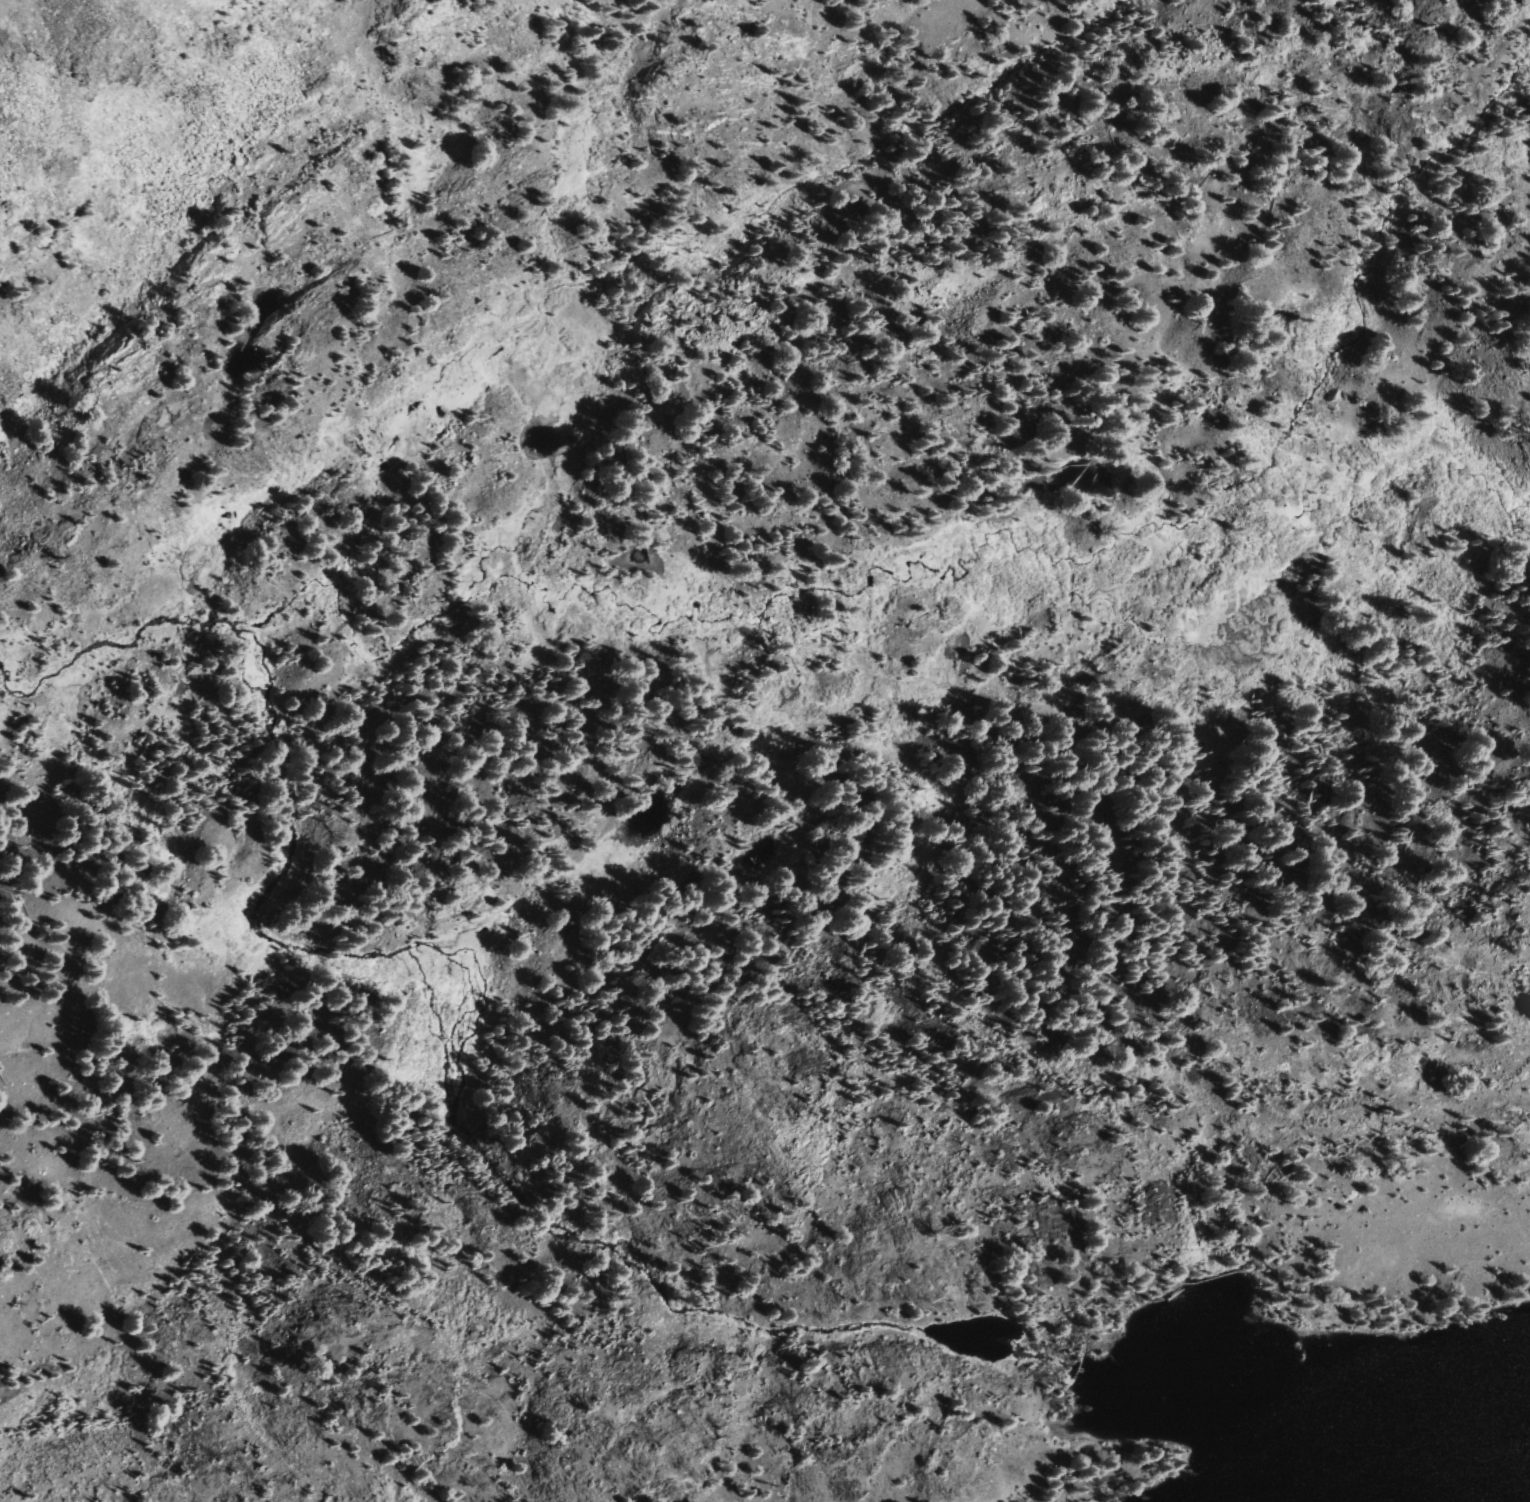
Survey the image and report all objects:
road: (1365, 1085)
road: (1184, 1283)
dam: (1072, 1369)

